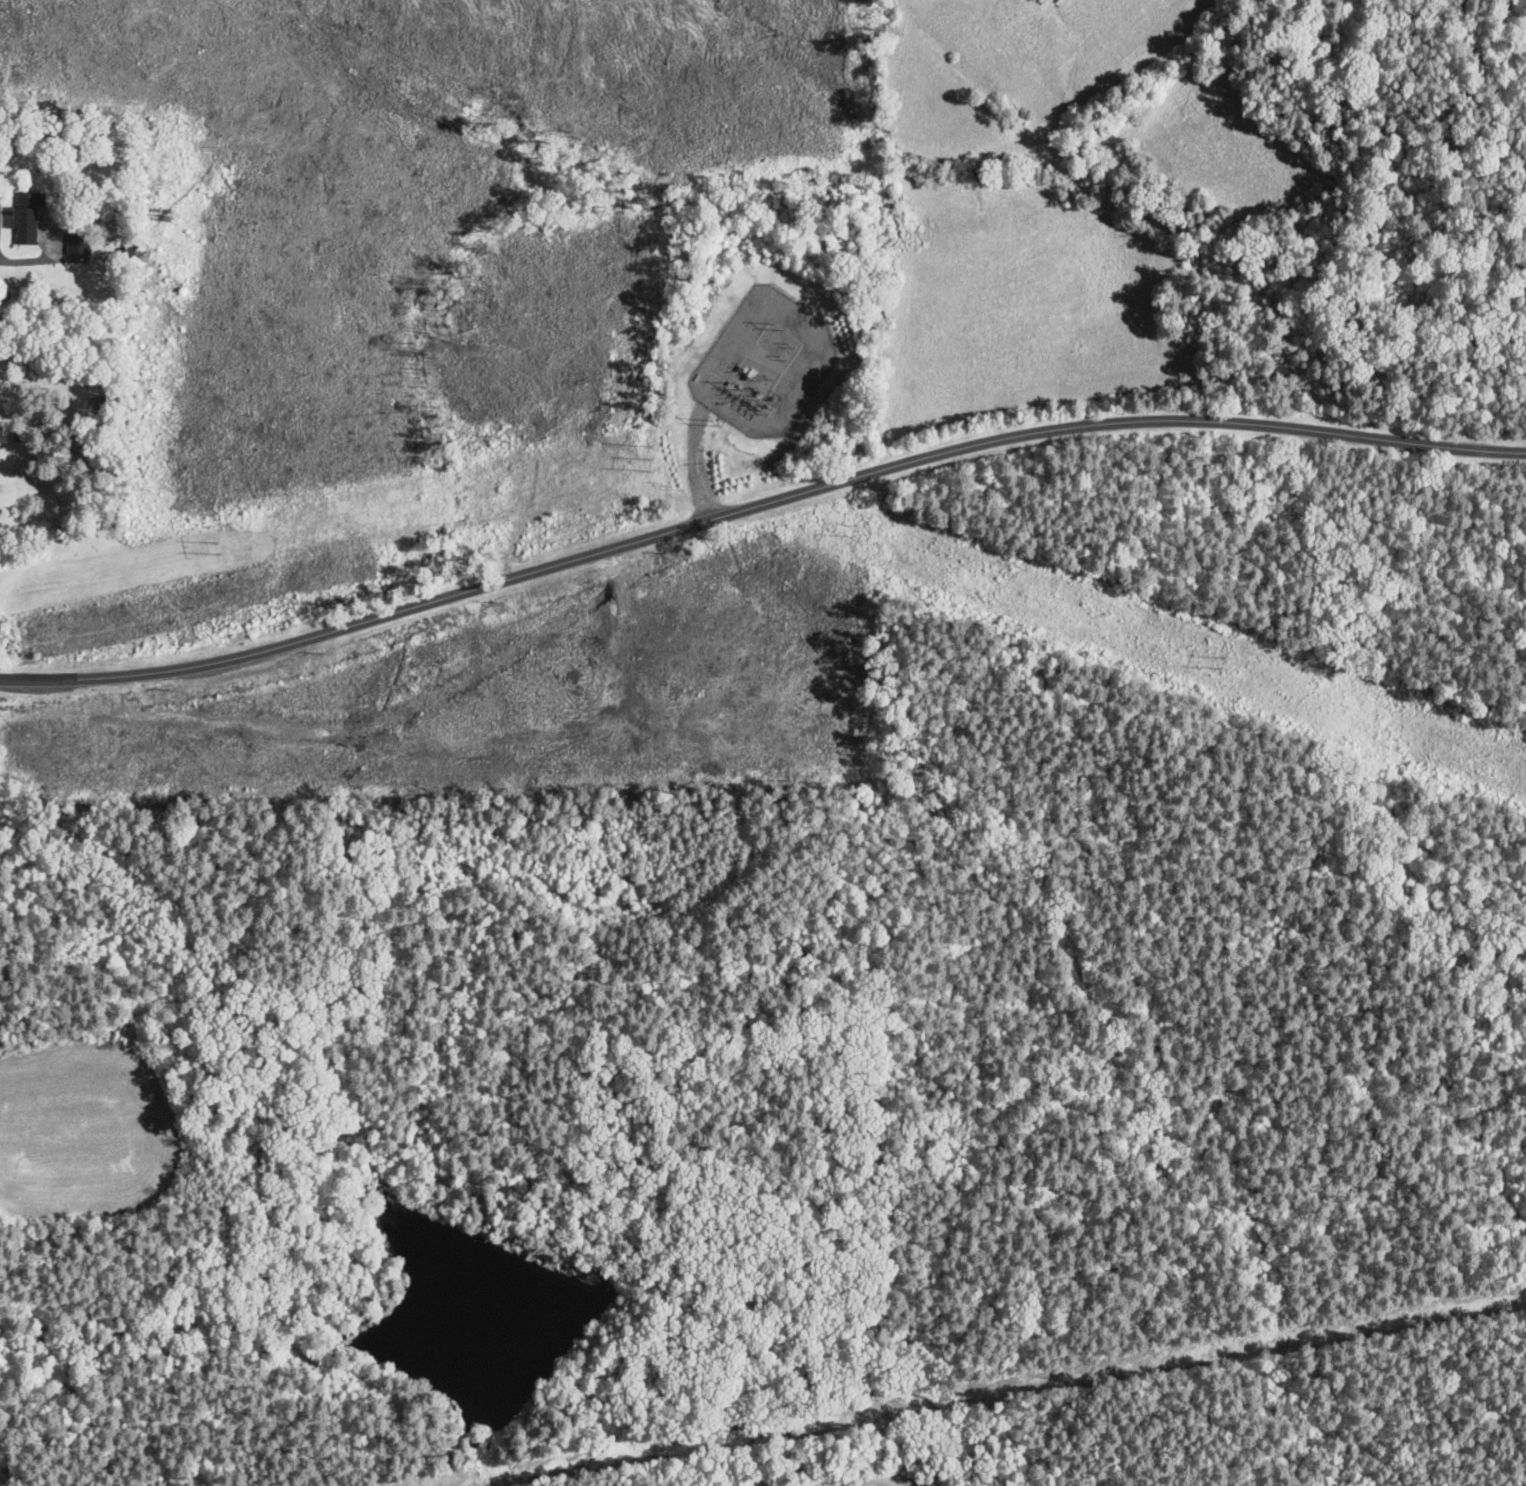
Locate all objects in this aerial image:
building: (1055, 1)
building: (29, 217)
building: (80, 243)
power tower: (782, 327)
power substation: (766, 364)
building: (98, 405)
power tower: (716, 422)
power tower: (647, 462)
power tower: (680, 474)
road: (757, 507)
power tower: (856, 534)
power tower: (221, 547)
power tower: (1223, 663)

